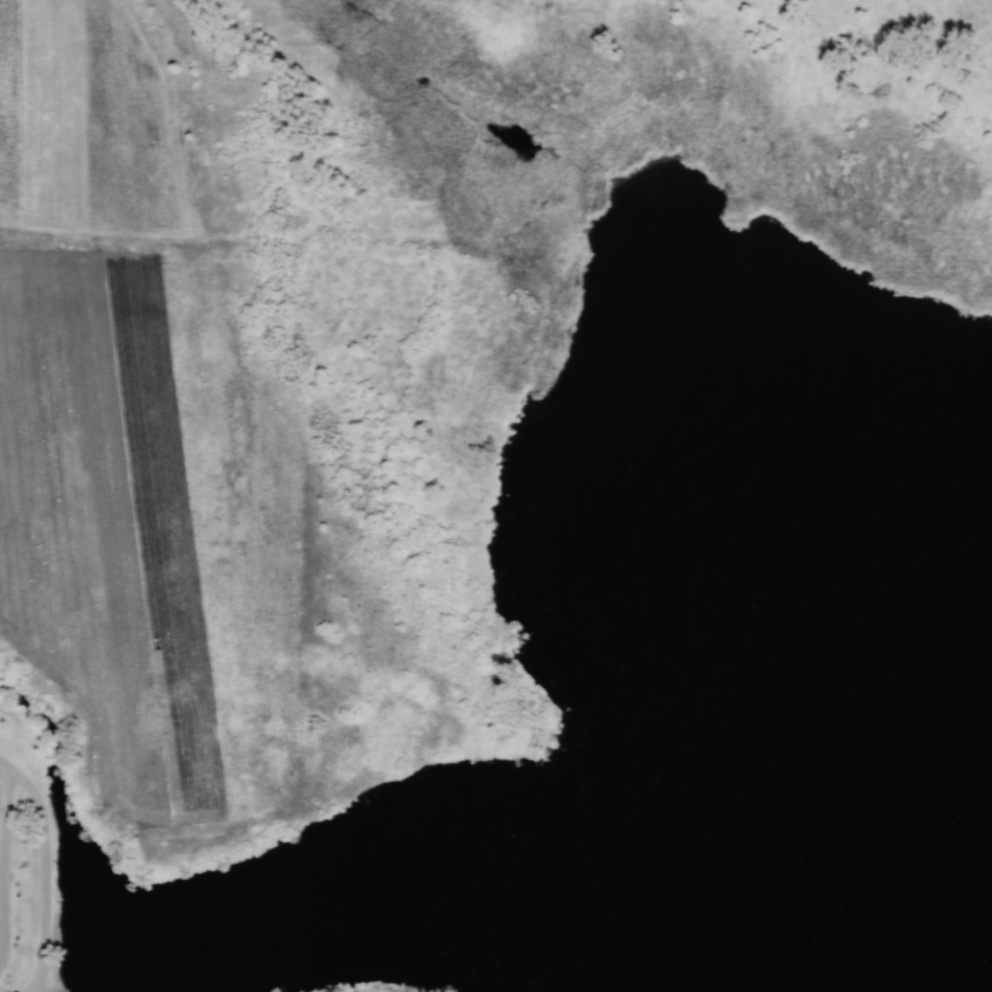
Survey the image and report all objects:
road: (3, 837)
road: (44, 872)
park: (478, 890)

